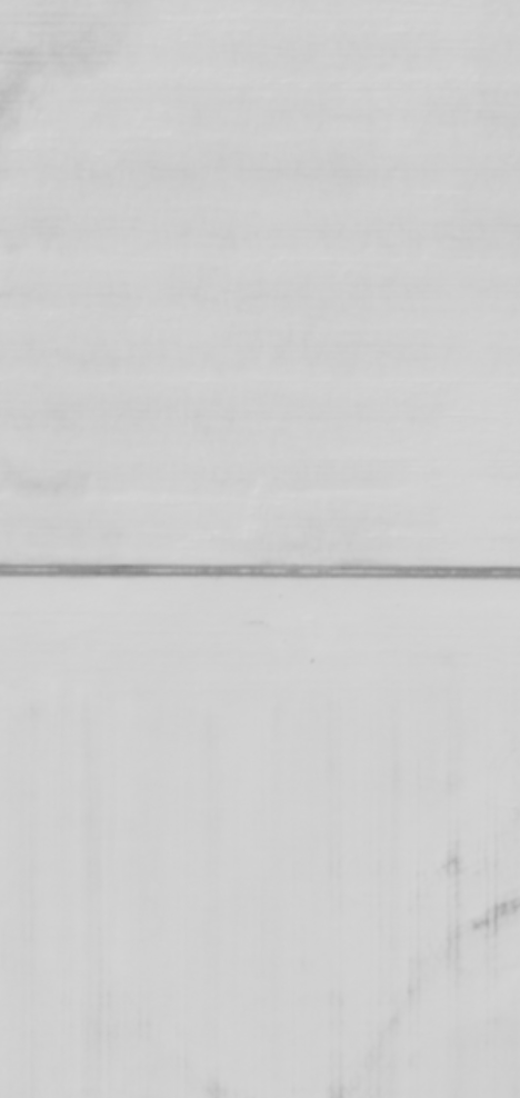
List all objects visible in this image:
road: (260, 563)

